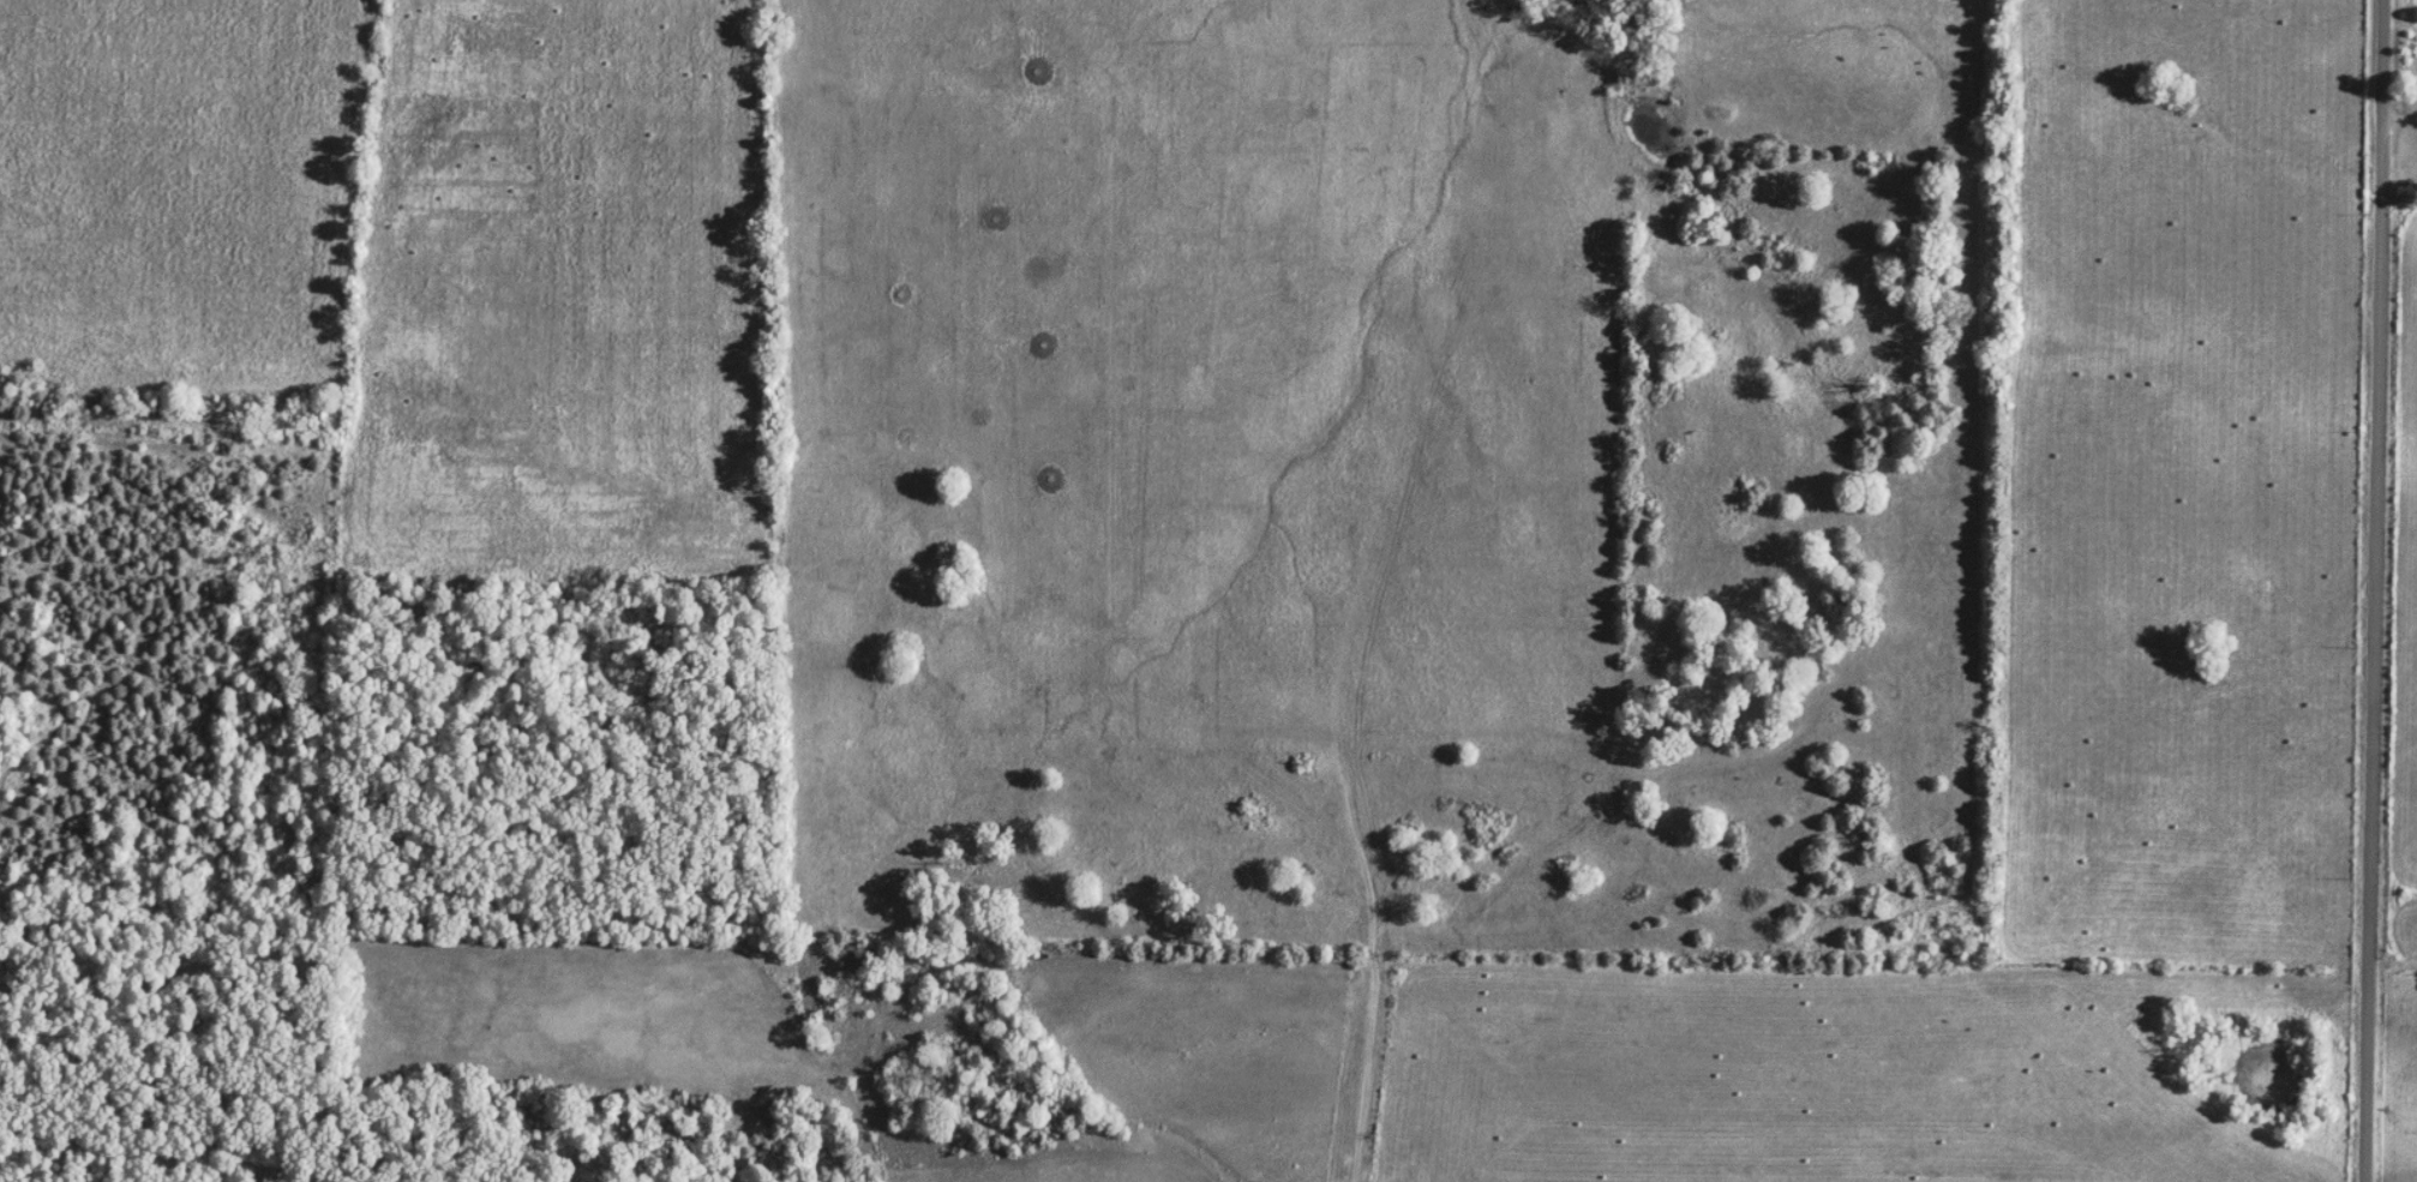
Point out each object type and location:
road: (2399, 115)
road: (2374, 590)

